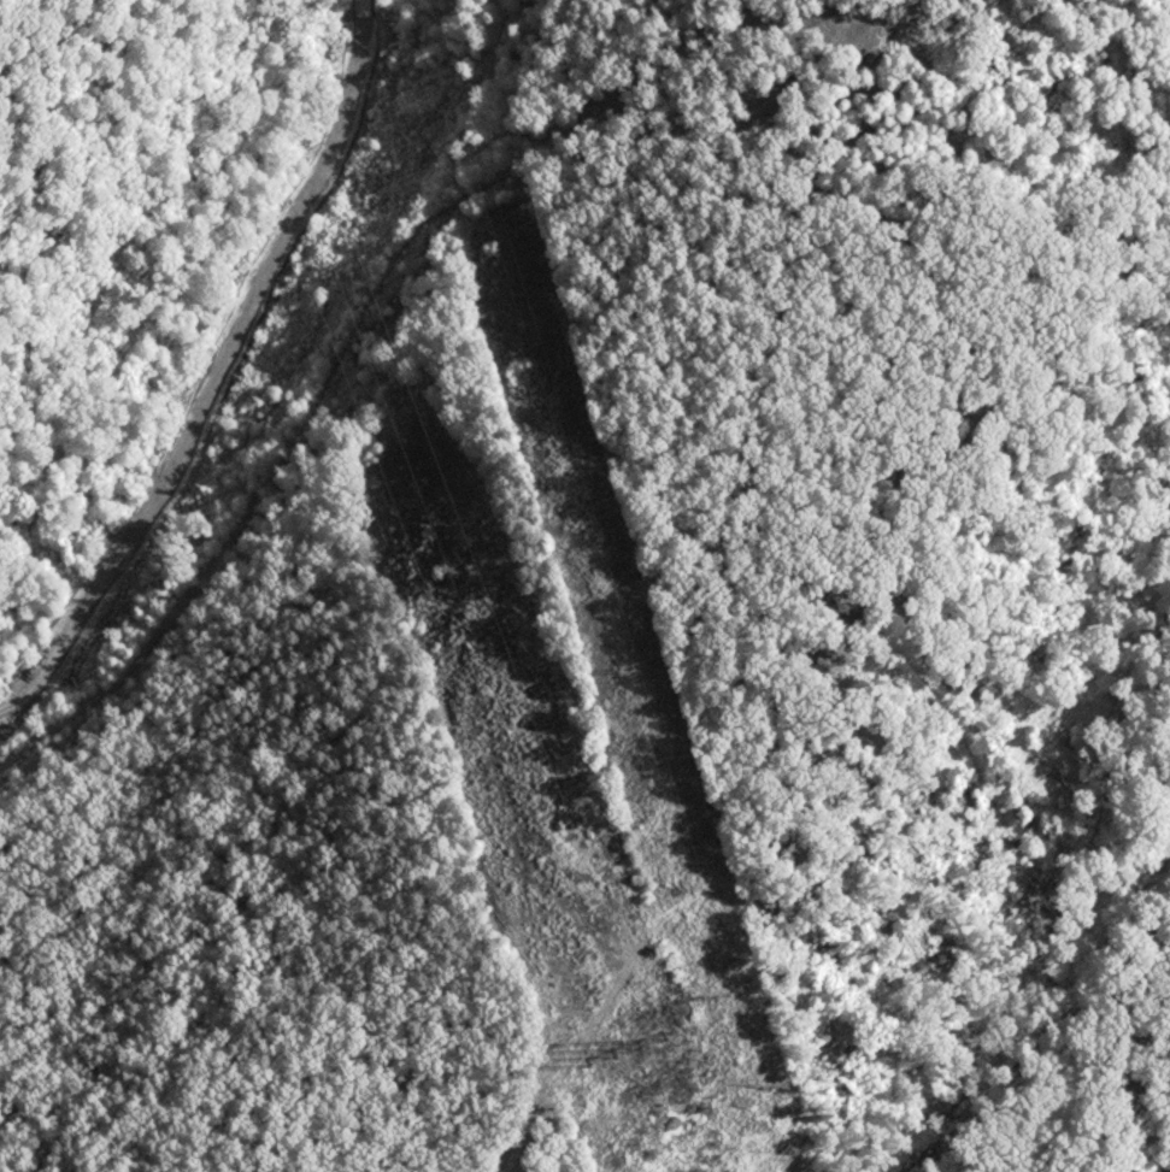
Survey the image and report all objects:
road: (253, 405)
power tower: (630, 660)
power tower: (740, 1002)
power tower: (618, 1035)

